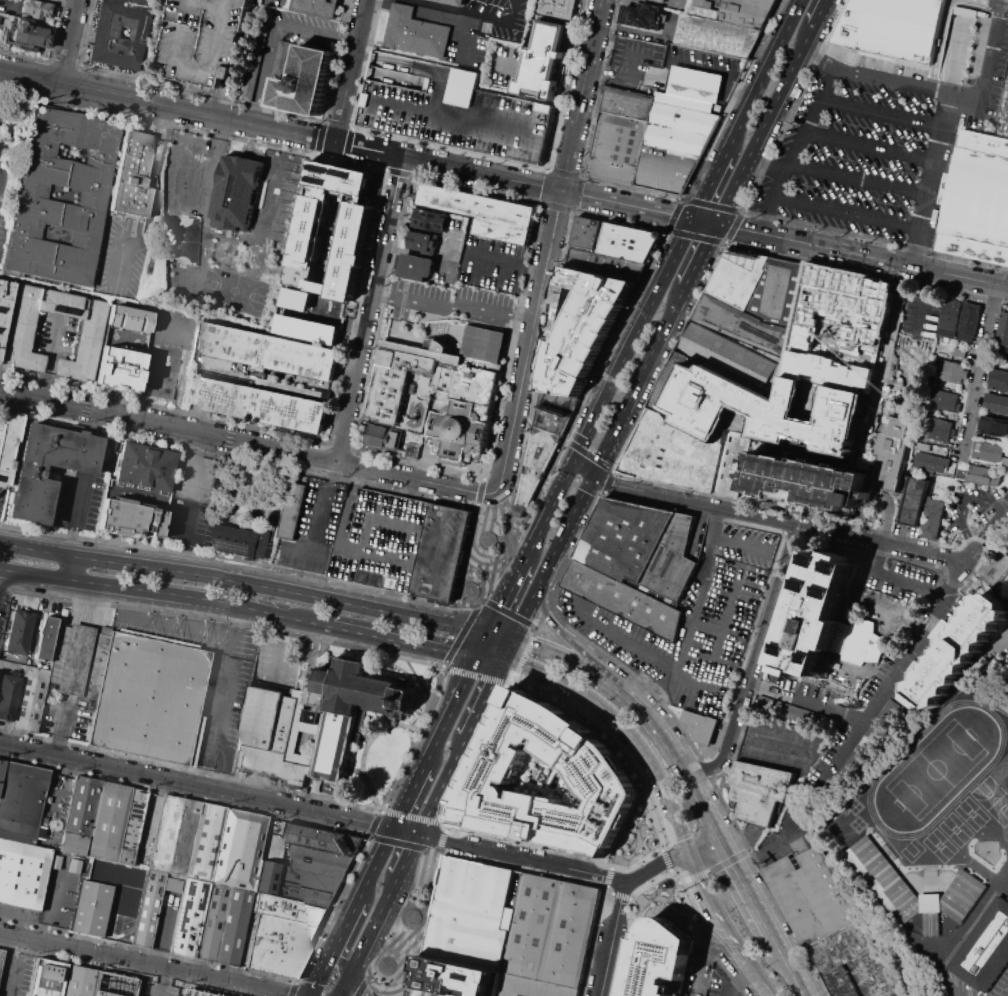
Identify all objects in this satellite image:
building: (658, 0)
road: (269, 1)
building: (452, 2)
road: (665, 2)
road: (9, 4)
road: (60, 4)
building: (134, 4)
building: (317, 7)
building: (35, 8)
building: (555, 8)
building: (747, 11)
road: (440, 12)
road: (472, 12)
road: (820, 12)
building: (643, 14)
parking lot: (500, 17)
building: (892, 26)
parking lot: (304, 29)
road: (272, 30)
building: (414, 32)
road: (644, 33)
building: (716, 34)
building: (30, 35)
building: (120, 36)
building: (205, 40)
parking lot: (205, 40)
road: (70, 41)
building: (978, 45)
building: (282, 57)
road: (668, 59)
building: (541, 60)
road: (990, 61)
road: (631, 62)
parking lot: (665, 63)
road: (418, 65)
road: (352, 70)
road: (764, 75)
building: (303, 83)
building: (689, 89)
building: (247, 90)
road: (176, 94)
road: (583, 95)
road: (730, 99)
road: (211, 101)
building: (628, 104)
road: (948, 104)
road: (793, 105)
road: (168, 106)
building: (452, 109)
parking lot: (452, 109)
road: (450, 112)
road: (880, 113)
road: (765, 124)
parking lot: (879, 141)
road: (868, 145)
building: (674, 146)
building: (619, 147)
road: (793, 147)
road: (449, 165)
road: (159, 169)
building: (133, 177)
road: (857, 178)
parking lot: (7, 185)
road: (710, 185)
traffic signals: (561, 190)
building: (238, 195)
building: (63, 196)
building: (978, 199)
road: (712, 204)
road: (638, 207)
building: (484, 212)
road: (673, 213)
road: (844, 214)
building: (434, 219)
traffic signals: (694, 219)
traffic signals: (716, 224)
road: (733, 226)
building: (333, 229)
building: (588, 233)
road: (695, 236)
building: (422, 240)
building: (628, 241)
road: (120, 252)
road: (701, 255)
road: (861, 255)
road: (503, 263)
parking lot: (492, 264)
building: (605, 265)
building: (418, 266)
building: (740, 276)
road: (179, 282)
park: (236, 290)
building: (780, 290)
building: (297, 299)
road: (923, 301)
parking lot: (449, 302)
building: (4, 306)
road: (453, 306)
road: (369, 308)
building: (949, 318)
building: (129, 319)
road: (338, 320)
building: (968, 321)
building: (746, 325)
building: (583, 328)
building: (1002, 328)
building: (309, 329)
road: (893, 331)
building: (89, 336)
road: (530, 339)
road: (635, 339)
road: (914, 339)
road: (912, 345)
building: (268, 350)
building: (959, 352)
road: (148, 353)
building: (936, 353)
building: (1006, 355)
road: (669, 356)
road: (48, 357)
building: (733, 359)
building: (216, 362)
building: (120, 369)
building: (796, 371)
building: (952, 371)
road: (979, 371)
building: (166, 373)
road: (639, 378)
building: (998, 380)
building: (447, 389)
road: (904, 392)
building: (313, 393)
building: (945, 401)
building: (258, 402)
building: (996, 404)
building: (554, 410)
road: (574, 415)
road: (95, 423)
building: (993, 425)
building: (939, 430)
building: (386, 437)
road: (564, 439)
road: (247, 443)
building: (8, 445)
building: (922, 446)
building: (414, 449)
building: (888, 452)
building: (986, 453)
road: (89, 454)
building: (673, 454)
road: (588, 455)
traffic signals: (575, 460)
building: (1004, 461)
building: (931, 462)
road: (195, 464)
building: (535, 464)
building: (733, 464)
road: (584, 466)
building: (144, 467)
traffic signals: (594, 472)
building: (806, 473)
building: (28, 474)
building: (960, 474)
building: (982, 475)
parking lot: (196, 476)
road: (608, 481)
parking lot: (2, 497)
road: (979, 499)
parking lot: (80, 501)
building: (912, 501)
road: (550, 509)
building: (293, 510)
road: (315, 511)
road: (512, 512)
road: (78, 514)
building: (129, 518)
road: (888, 519)
building: (932, 519)
road: (776, 520)
road: (569, 521)
parking lot: (189, 523)
parking lot: (315, 530)
road: (182, 537)
building: (244, 539)
building: (381, 539)
parking lot: (381, 539)
road: (738, 543)
road: (12, 544)
road: (491, 544)
building: (444, 552)
road: (968, 553)
road: (382, 554)
road: (878, 559)
road: (116, 562)
road: (70, 567)
building: (641, 567)
road: (959, 567)
road: (34, 573)
parking lot: (899, 580)
road: (513, 584)
road: (910, 586)
road: (154, 592)
road: (474, 602)
road: (349, 603)
road: (528, 604)
road: (550, 605)
road: (944, 605)
road: (543, 611)
road: (270, 612)
road: (505, 612)
road: (727, 614)
road: (581, 615)
road: (495, 622)
building: (825, 622)
road: (235, 623)
road: (537, 623)
parking lot: (693, 623)
road: (532, 625)
road: (707, 627)
road: (534, 630)
building: (19, 634)
traffic signals: (490, 634)
road: (458, 636)
road: (501, 636)
road: (580, 637)
building: (44, 638)
traffic signals: (512, 639)
road: (569, 640)
road: (401, 641)
road: (229, 645)
road: (484, 645)
road: (277, 649)
road: (507, 650)
road: (682, 651)
building: (957, 652)
traffic signals: (478, 657)
road: (521, 657)
road: (565, 657)
road: (754, 660)
building: (80, 661)
road: (424, 661)
traffic signals: (502, 662)
road: (510, 664)
road: (473, 674)
road: (418, 678)
road: (692, 679)
road: (507, 682)
road: (461, 692)
parking lot: (222, 694)
building: (6, 695)
building: (149, 698)
building: (32, 699)
road: (484, 699)
parking lot: (800, 702)
road: (815, 702)
building: (352, 709)
road: (873, 712)
parking lot: (66, 717)
road: (657, 723)
building: (699, 725)
road: (59, 727)
building: (274, 733)
road: (627, 735)
road: (415, 739)
road: (609, 744)
road: (774, 744)
parking lot: (783, 745)
road: (434, 746)
road: (363, 749)
road: (471, 752)
road: (4, 763)
building: (1, 765)
road: (705, 766)
track: (887, 771)
building: (544, 780)
building: (1007, 784)
road: (442, 785)
road: (209, 788)
building: (756, 791)
road: (409, 796)
road: (637, 796)
park: (993, 798)
building: (21, 800)
road: (704, 806)
road: (150, 811)
road: (396, 813)
park: (971, 815)
building: (93, 819)
building: (130, 827)
road: (445, 828)
road: (624, 828)
park: (957, 830)
building: (173, 837)
building: (322, 839)
road: (440, 839)
traffic signals: (720, 839)
road: (775, 841)
road: (396, 842)
building: (204, 844)
road: (704, 845)
park: (941, 845)
road: (426, 846)
road: (552, 849)
road: (431, 850)
road: (747, 850)
building: (238, 851)
traffic signals: (688, 852)
road: (408, 855)
road: (665, 858)
building: (319, 861)
road: (376, 863)
road: (555, 864)
road: (521, 867)
road: (610, 867)
road: (712, 867)
building: (22, 874)
road: (607, 876)
building: (884, 878)
building: (265, 879)
building: (309, 879)
road: (659, 881)
road: (676, 882)
road: (766, 884)
road: (671, 885)
road: (663, 887)
parking lot: (60, 889)
road: (747, 889)
road: (704, 891)
road: (609, 892)
building: (807, 894)
parking lot: (117, 895)
building: (303, 895)
road: (619, 895)
road: (126, 897)
road: (659, 897)
road: (629, 898)
road: (56, 902)
road: (660, 903)
building: (90, 909)
road: (331, 909)
building: (147, 910)
road: (664, 910)
building: (288, 911)
road: (638, 911)
parking lot: (166, 914)
building: (470, 915)
building: (188, 919)
road: (376, 919)
building: (211, 923)
road: (632, 923)
road: (347, 924)
road: (397, 924)
building: (234, 929)
road: (164, 930)
building: (551, 931)
road: (685, 932)
road: (961, 933)
road: (611, 937)
road: (696, 937)
road: (592, 939)
building: (277, 947)
building: (0, 950)
building: (986, 953)
building: (1, 957)
building: (658, 959)
road: (744, 962)
building: (850, 962)
road: (339, 964)
road: (144, 965)
road: (17, 967)
road: (791, 968)
road: (351, 970)
road: (323, 972)
parking lot: (15, 974)
road: (369, 976)
building: (45, 979)
building: (455, 979)
road: (733, 981)
building: (77, 982)
parking lot: (720, 984)
building: (112, 986)
road: (342, 986)
road: (355, 986)
parking lot: (954, 986)
road: (361, 987)
building: (530, 988)
parking lot: (1002, 988)
road: (292, 989)
building: (189, 993)
building: (426, 993)
parking lot: (521, 995)

